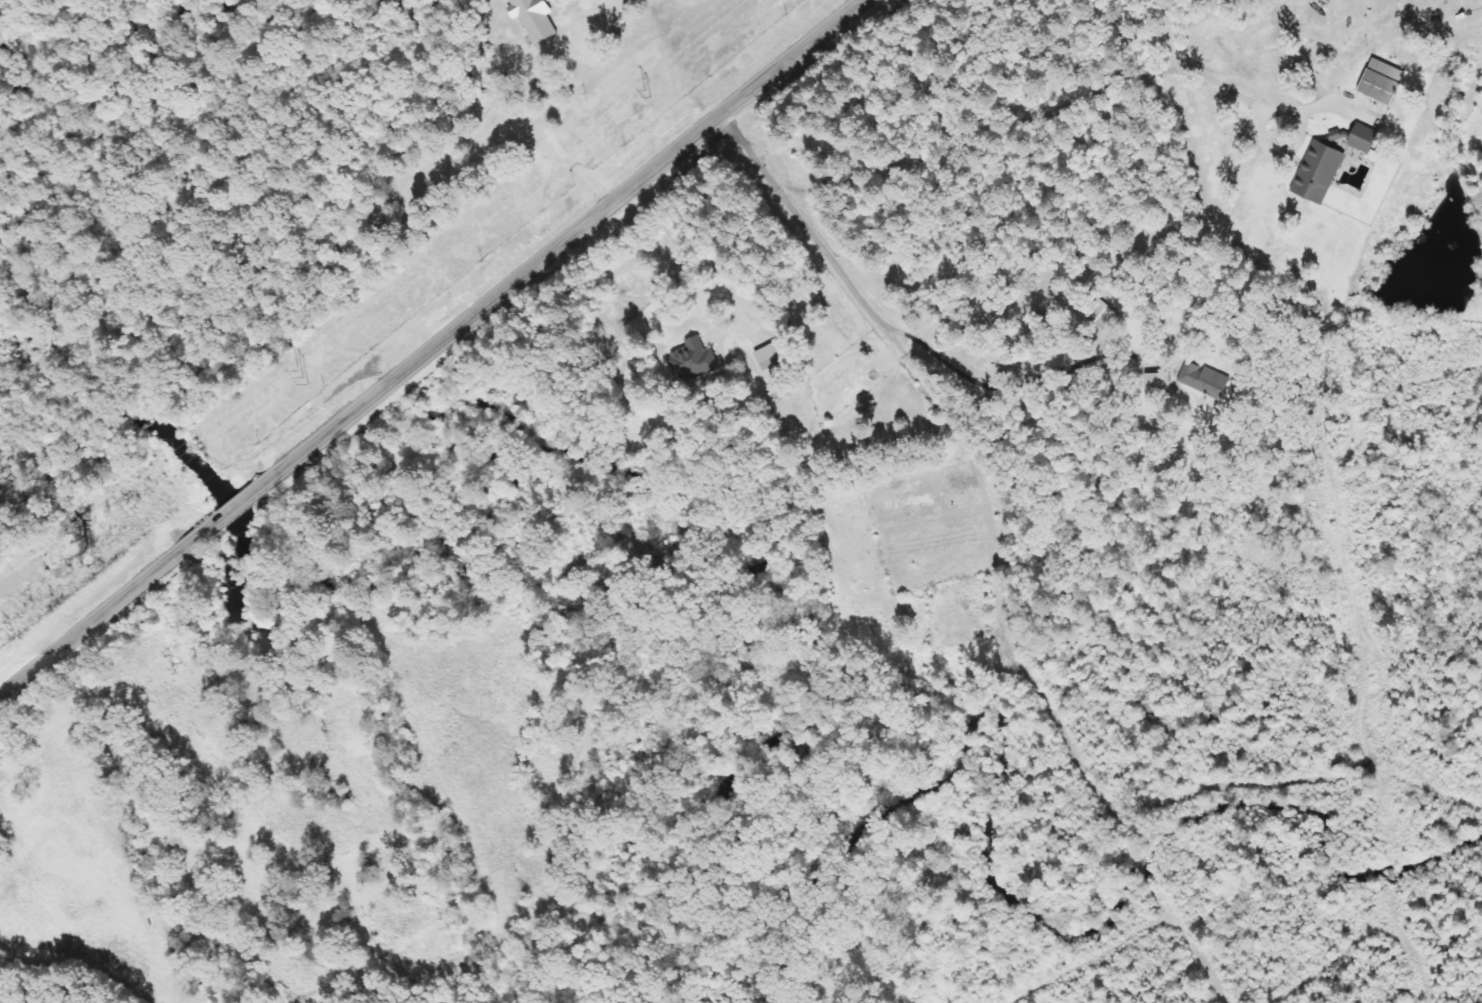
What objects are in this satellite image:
building: (534, 18)
building: (1381, 80)
power tower: (654, 90)
building: (1362, 137)
building: (1318, 172)
road: (562, 238)
building: (773, 358)
building: (692, 359)
power tower: (296, 381)
building: (1206, 382)
building: (1158, 385)
road: (223, 513)
road: (89, 622)

